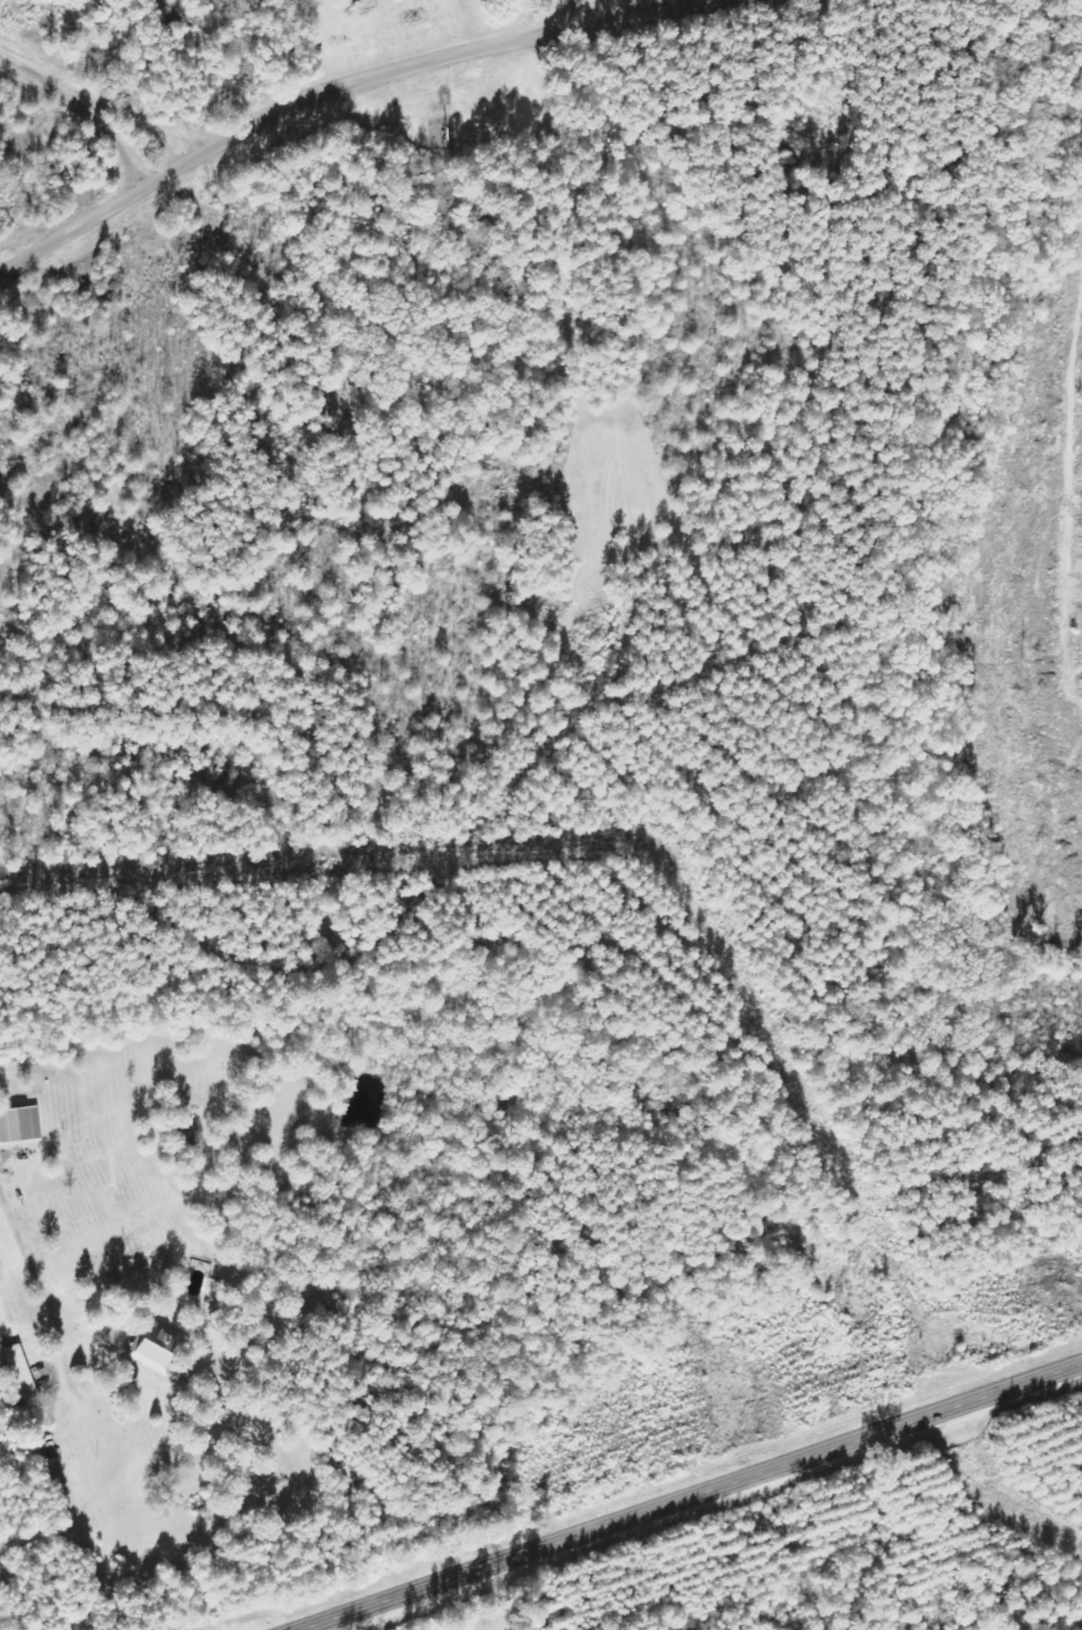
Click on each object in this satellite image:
road: (576, 11)
road: (341, 88)
building: (157, 1350)
building: (24, 1374)
road: (73, 1392)
road: (694, 1497)

